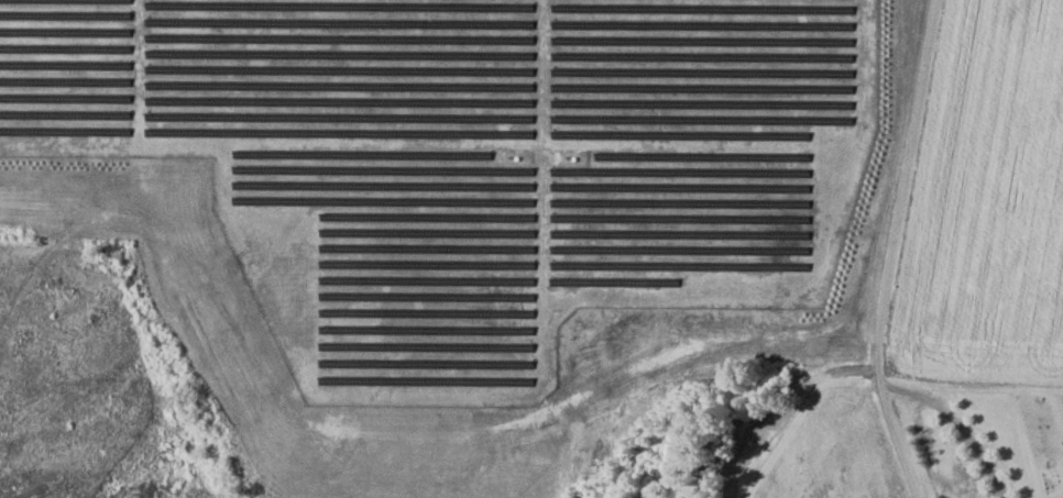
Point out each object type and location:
solar farm: (470, 161)
road: (894, 251)
road: (957, 424)
park: (1043, 433)

